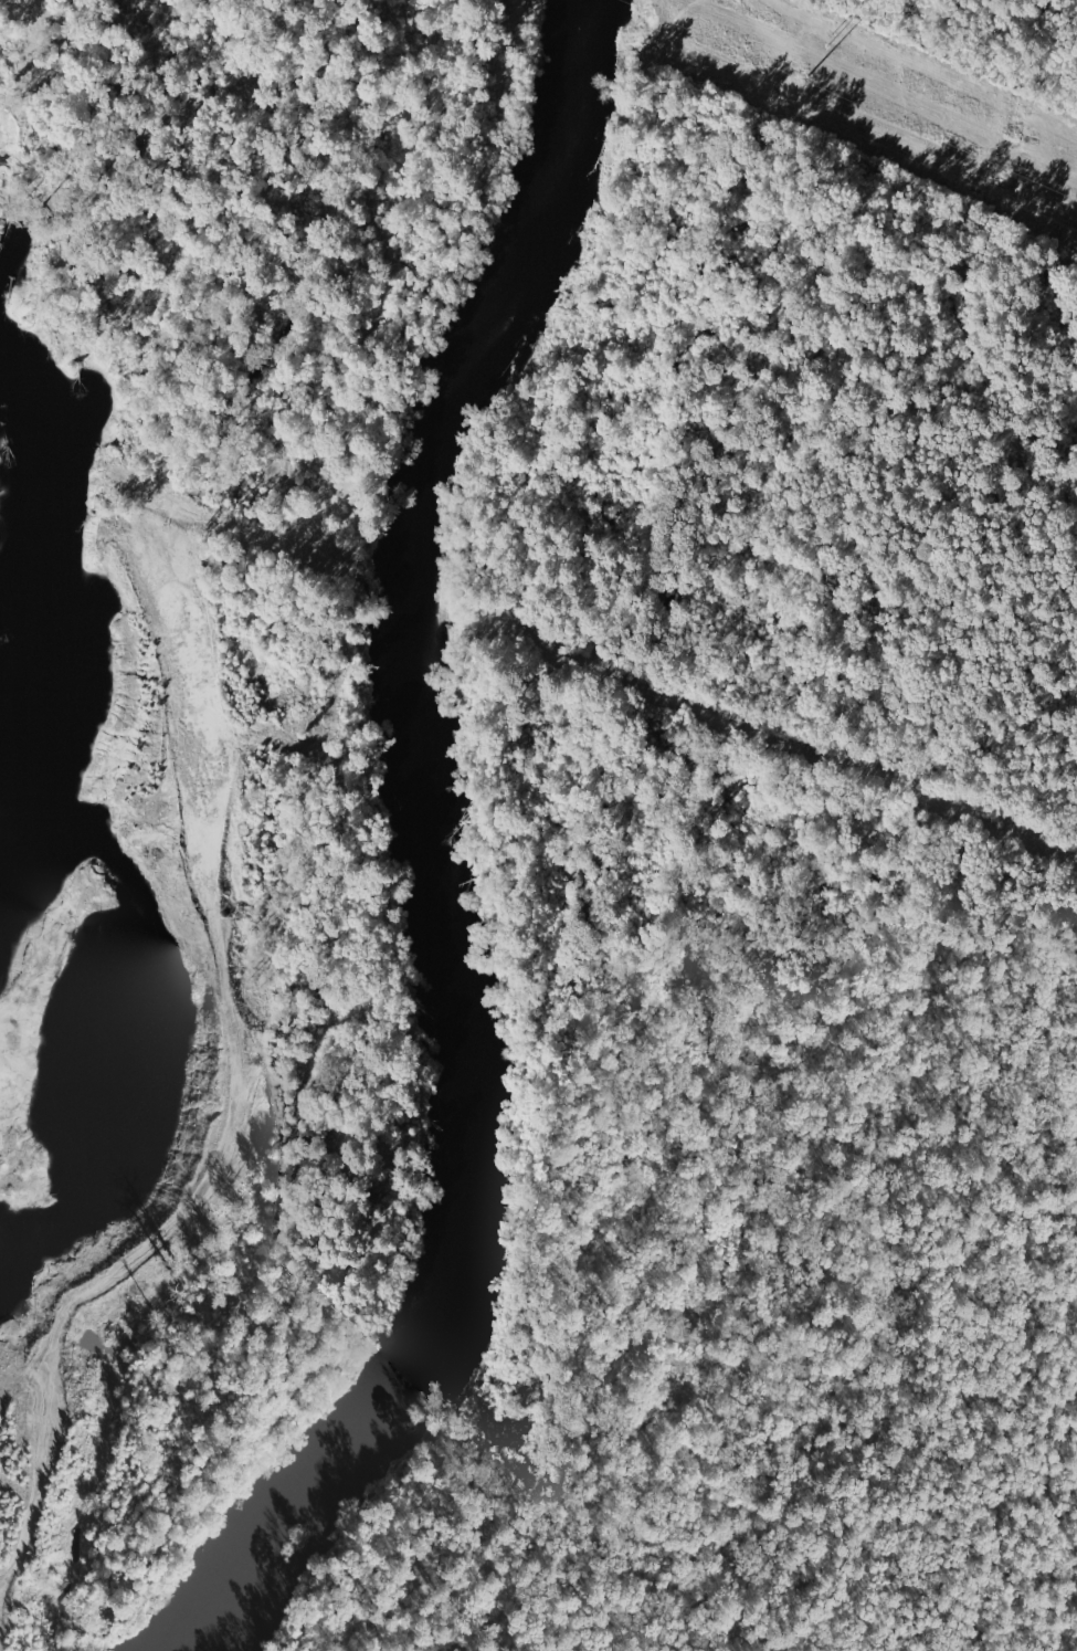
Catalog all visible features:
power tower: (830, 41)
river: (413, 848)
road: (542, 870)

